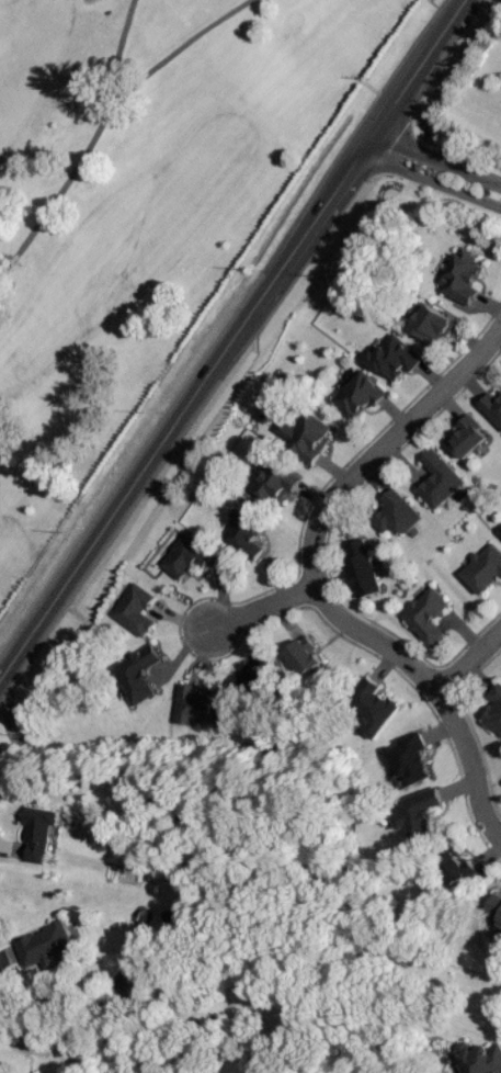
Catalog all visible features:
road: (434, 158)
road: (429, 179)
park: (136, 204)
building: (464, 276)
building: (434, 325)
road: (229, 341)
building: (396, 357)
building: (362, 395)
building: (492, 407)
building: (310, 438)
building: (469, 438)
road: (382, 442)
building: (441, 481)
building: (278, 483)
building: (399, 513)
building: (246, 533)
building: (187, 557)
building: (363, 571)
building: (485, 571)
road: (257, 608)
building: (138, 610)
building: (430, 617)
road: (467, 656)
building: (312, 667)
building: (139, 675)
building: (263, 678)
road: (435, 689)
building: (202, 707)
building: (374, 707)
building: (496, 710)
building: (411, 759)
building: (420, 814)
building: (41, 833)
building: (457, 868)
building: (496, 905)
building: (49, 945)
road: (54, 998)
building: (481, 1059)

